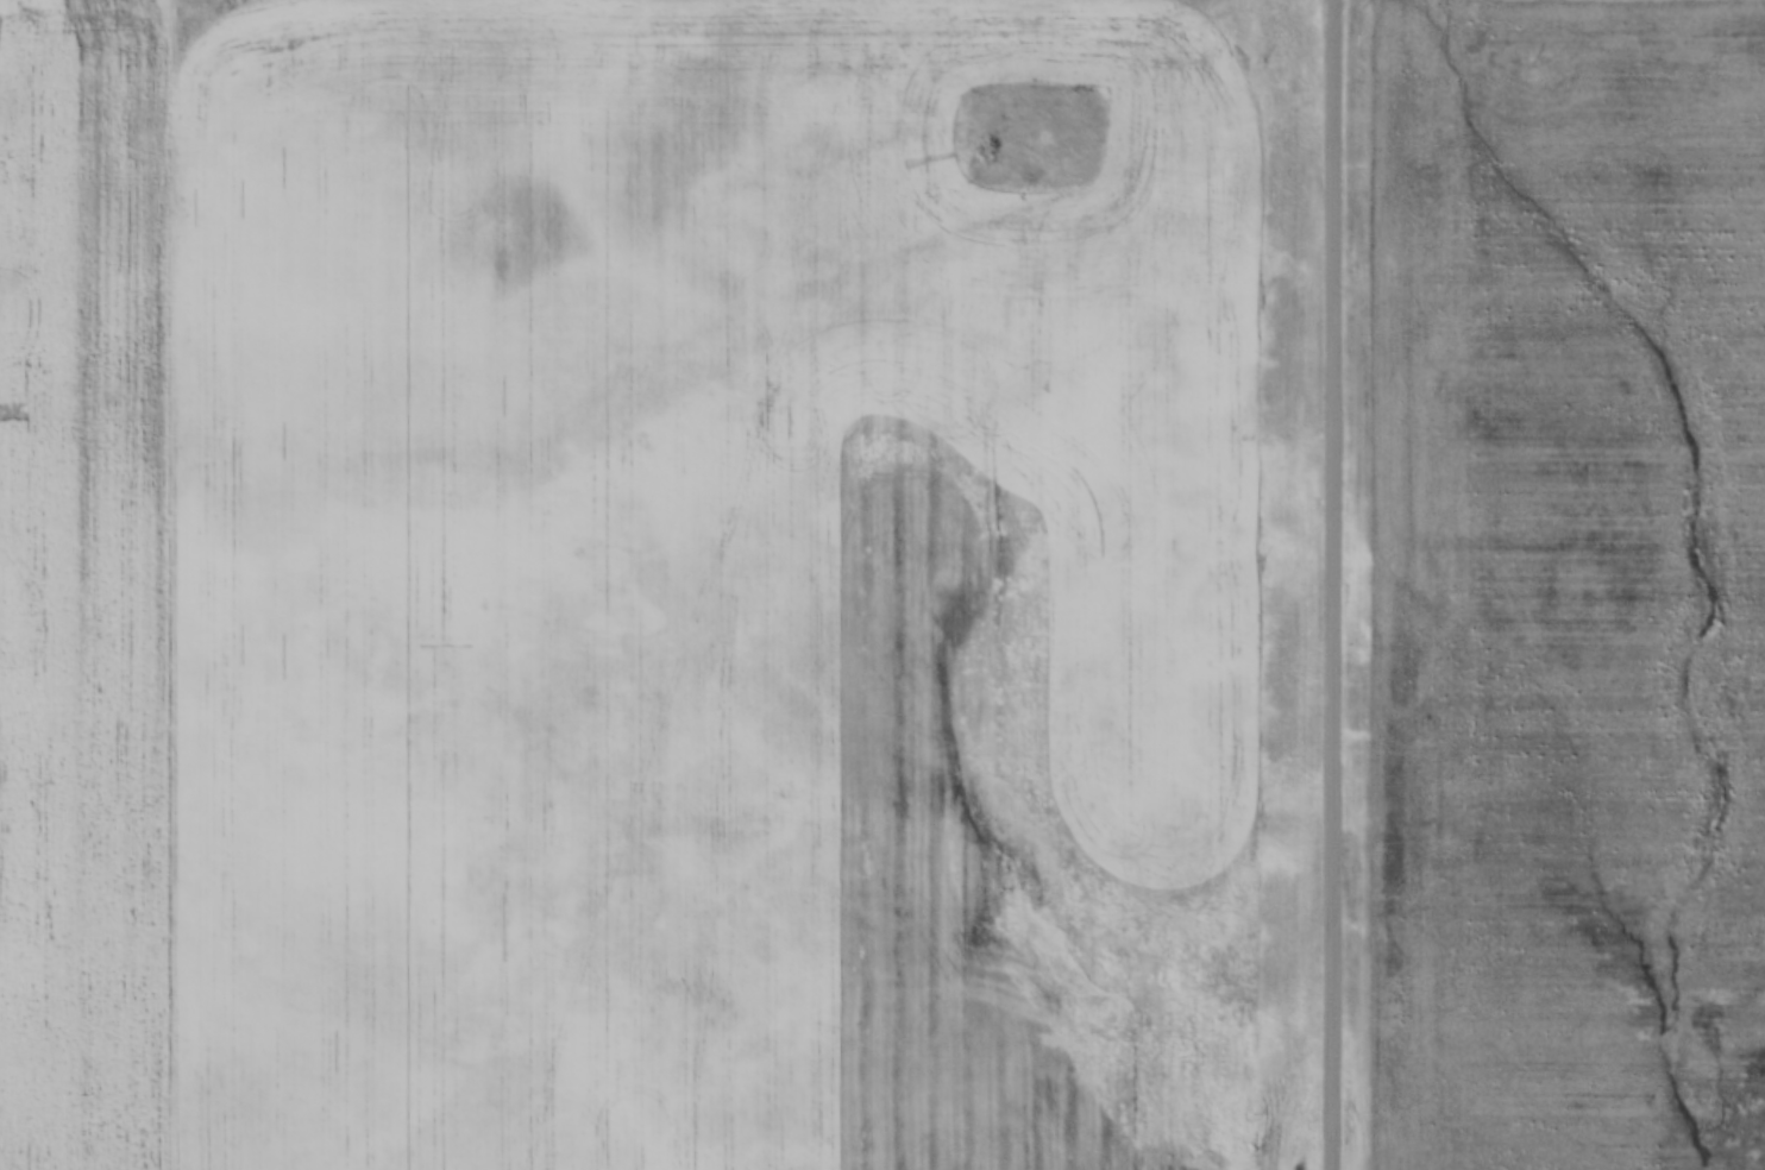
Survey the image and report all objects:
road: (1340, 585)

